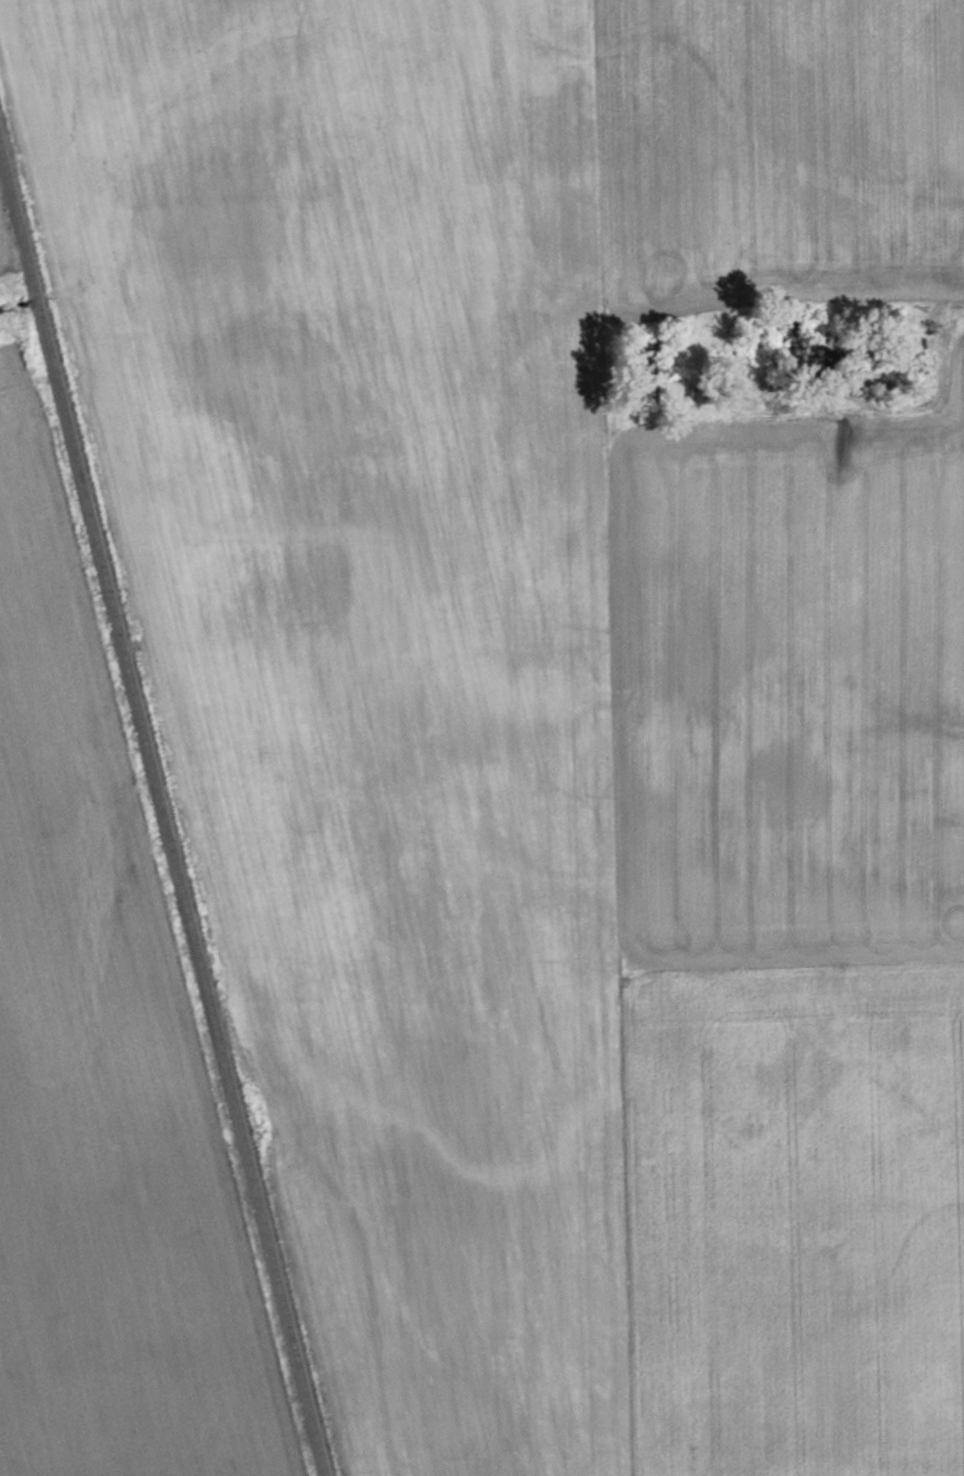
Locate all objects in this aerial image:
railway: (163, 807)

